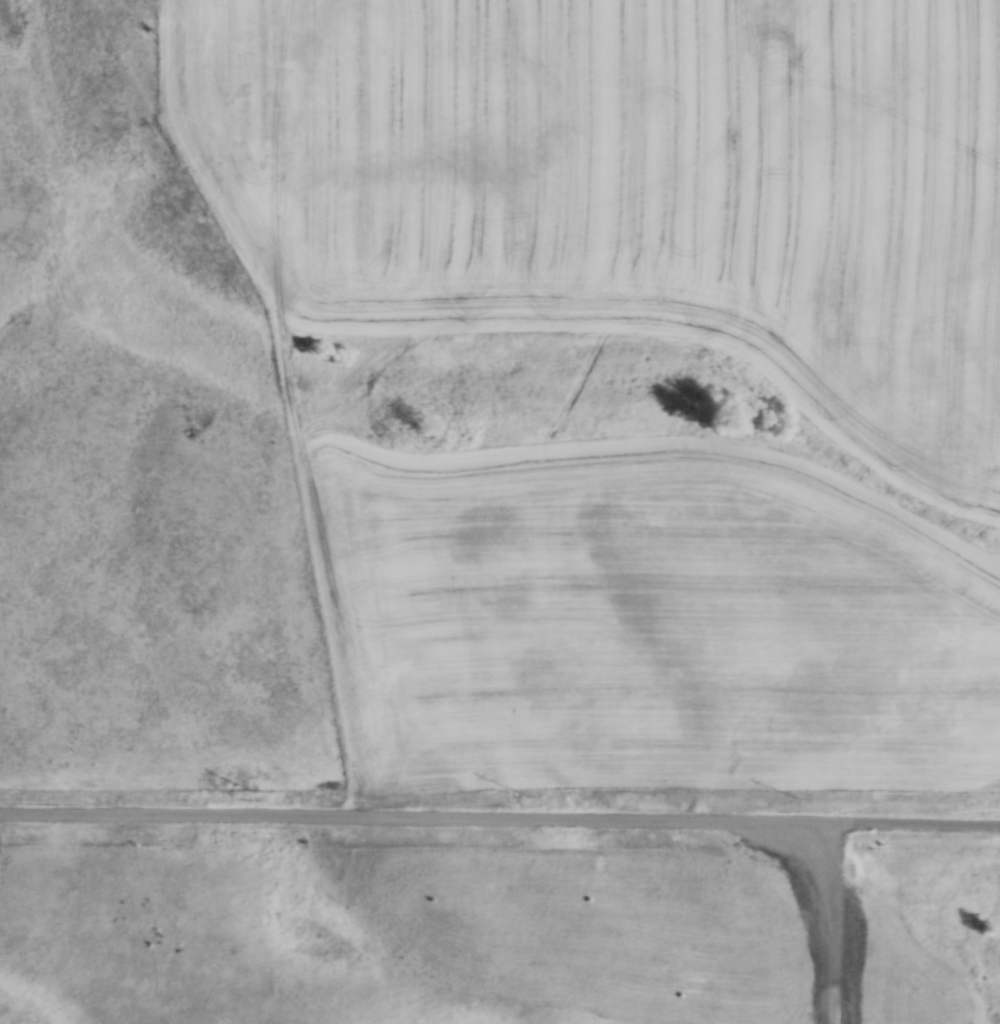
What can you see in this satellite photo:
river: (602, 391)
road: (500, 815)

